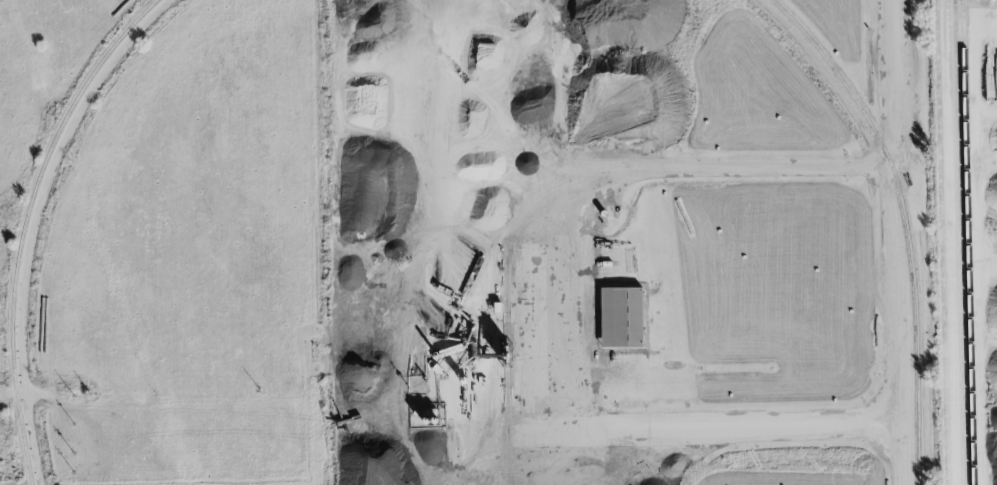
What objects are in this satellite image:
road: (894, 84)
railway: (902, 221)
railway: (24, 224)
railway: (939, 242)
railway: (956, 255)
railway: (966, 255)
building: (622, 318)
road: (606, 424)

